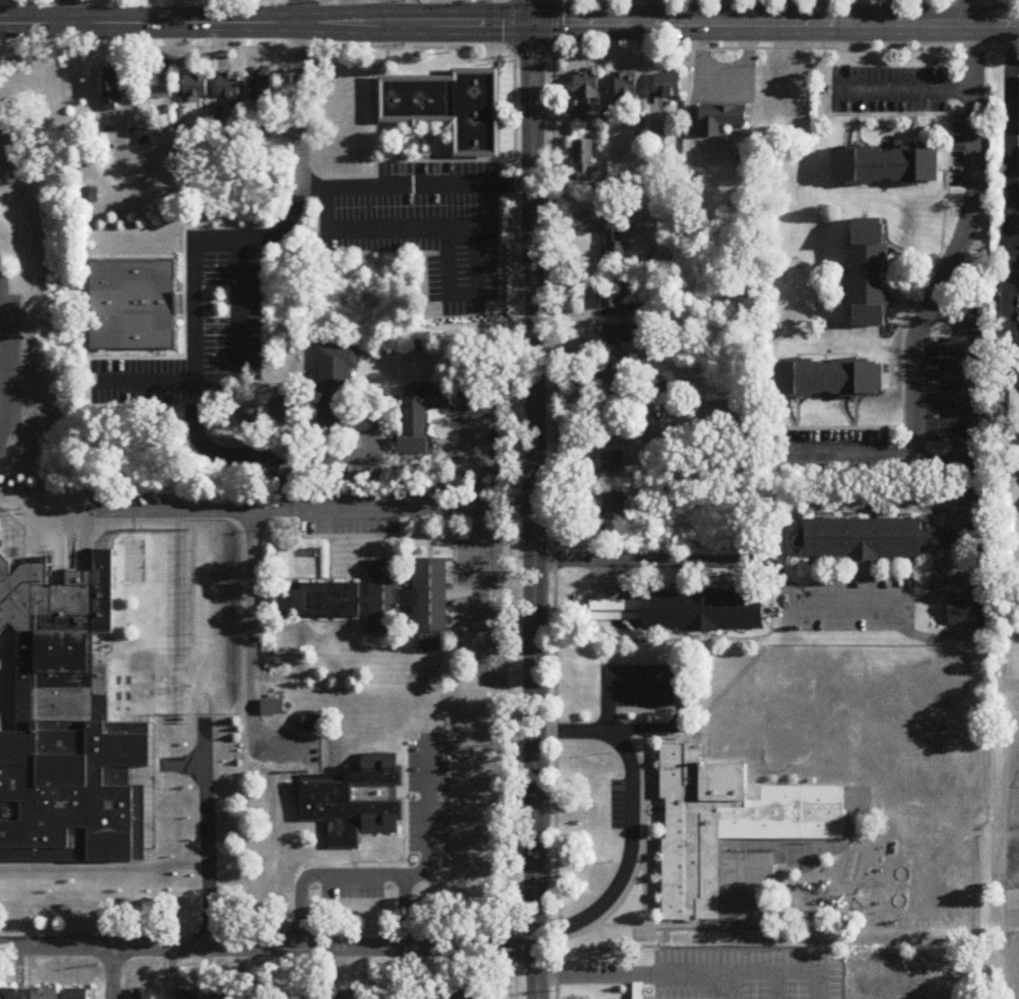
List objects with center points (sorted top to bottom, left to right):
road: (36, 0)
road: (904, 0)
road: (345, 12)
road: (392, 12)
road: (534, 12)
road: (651, 12)
road: (789, 12)
road: (967, 12)
road: (72, 13)
road: (301, 13)
road: (776, 24)
traffic signals: (534, 25)
road: (267, 26)
road: (508, 49)
building: (669, 85)
building: (160, 86)
building: (196, 86)
building: (587, 86)
building: (261, 87)
building: (231, 88)
building: (627, 88)
building: (112, 91)
road: (901, 91)
building: (415, 98)
building: (477, 112)
road: (901, 115)
building: (721, 119)
road: (1010, 150)
building: (584, 160)
road: (409, 161)
building: (887, 164)
road: (416, 188)
building: (90, 195)
road: (409, 232)
road: (956, 241)
building: (615, 243)
road: (195, 259)
building: (870, 272)
road: (1015, 279)
road: (462, 295)
building: (612, 297)
building: (133, 305)
road: (916, 306)
road: (1009, 307)
building: (622, 334)
road: (1005, 335)
road: (184, 342)
building: (657, 349)
road: (101, 365)
building: (612, 374)
building: (832, 378)
road: (233, 382)
road: (1001, 390)
building: (658, 391)
building: (341, 393)
building: (418, 417)
building: (610, 424)
building: (653, 433)
road: (589, 438)
road: (953, 455)
road: (326, 456)
building: (613, 461)
road: (507, 498)
building: (975, 498)
road: (553, 499)
road: (292, 512)
road: (536, 512)
building: (614, 514)
building: (877, 539)
road: (728, 561)
road: (480, 575)
building: (430, 597)
building: (383, 598)
building: (325, 601)
building: (966, 610)
building: (686, 611)
building: (432, 646)
road: (250, 648)
building: (70, 705)
building: (272, 708)
building: (311, 724)
road: (210, 735)
building: (354, 803)
road: (181, 809)
road: (633, 819)
road: (431, 823)
building: (727, 825)
road: (86, 873)
road: (351, 876)
road: (266, 946)
road: (113, 973)
road: (678, 976)
road: (733, 987)
road: (776, 987)
road: (819, 987)
building: (639, 991)
building: (7, 994)
building: (45, 994)
building: (76, 994)
building: (186, 995)
building: (255, 995)
building: (350, 995)
building: (142, 996)
building: (222, 996)
building: (300, 996)
building: (392, 996)
building: (434, 996)
building: (464, 996)

